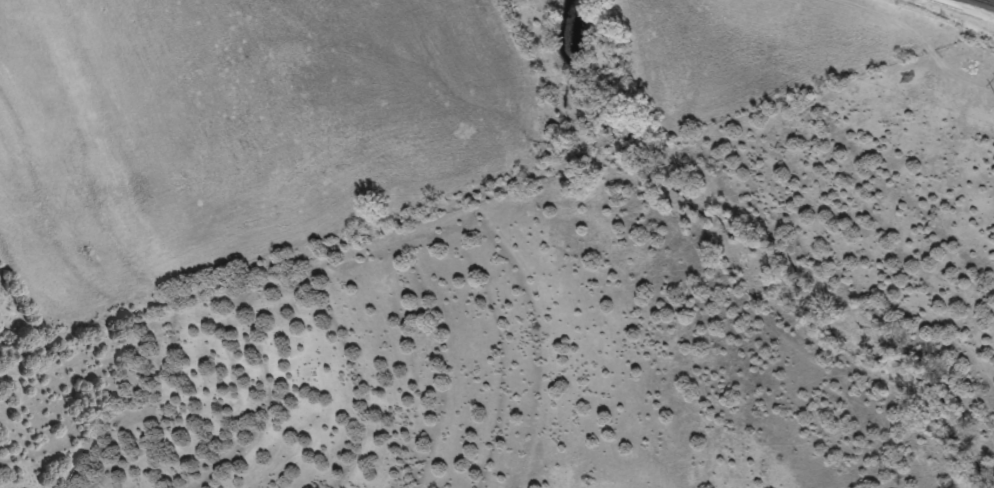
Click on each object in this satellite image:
railway: (990, 1)
power tower: (916, 25)

